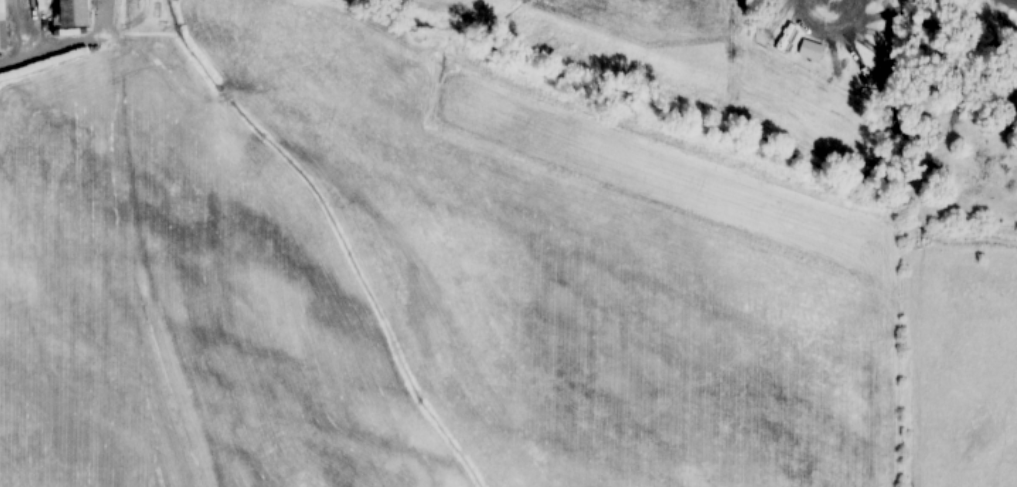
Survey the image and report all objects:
building: (70, 14)
building: (1, 28)
building: (809, 49)

